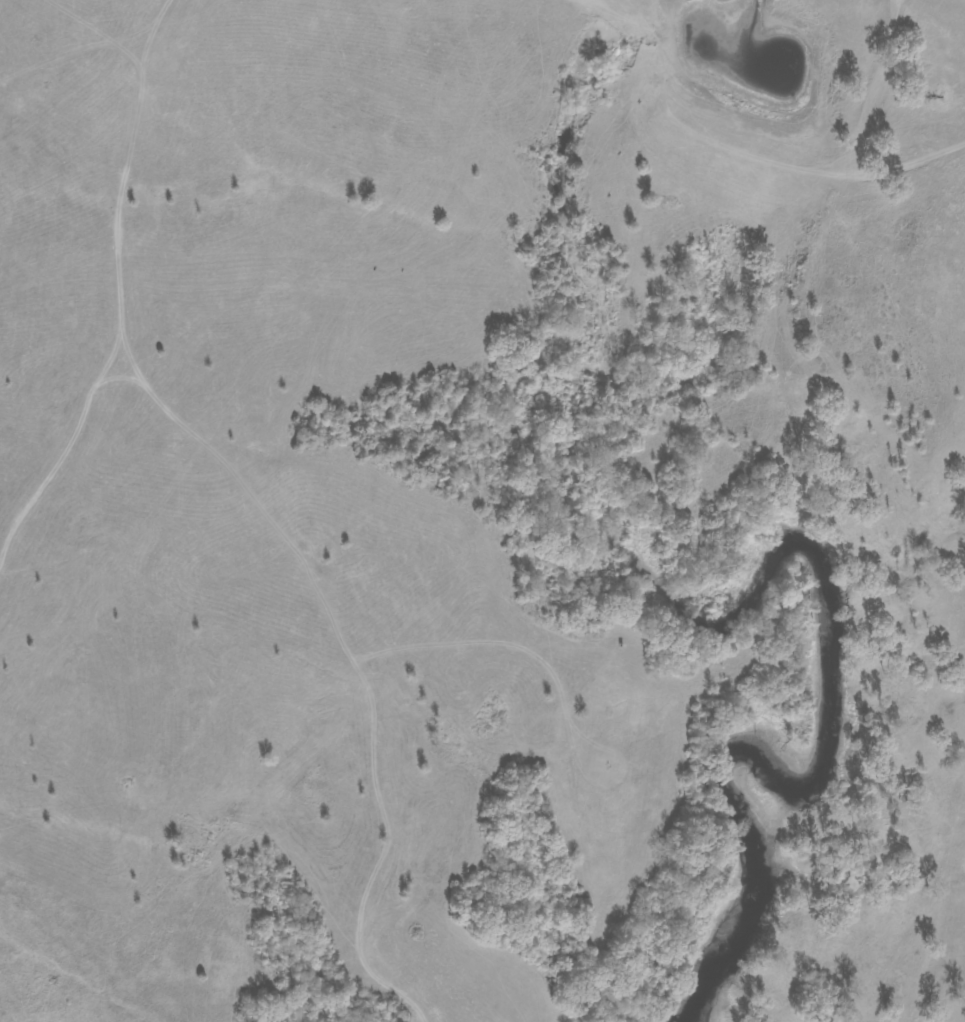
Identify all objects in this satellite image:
road: (338, 556)

